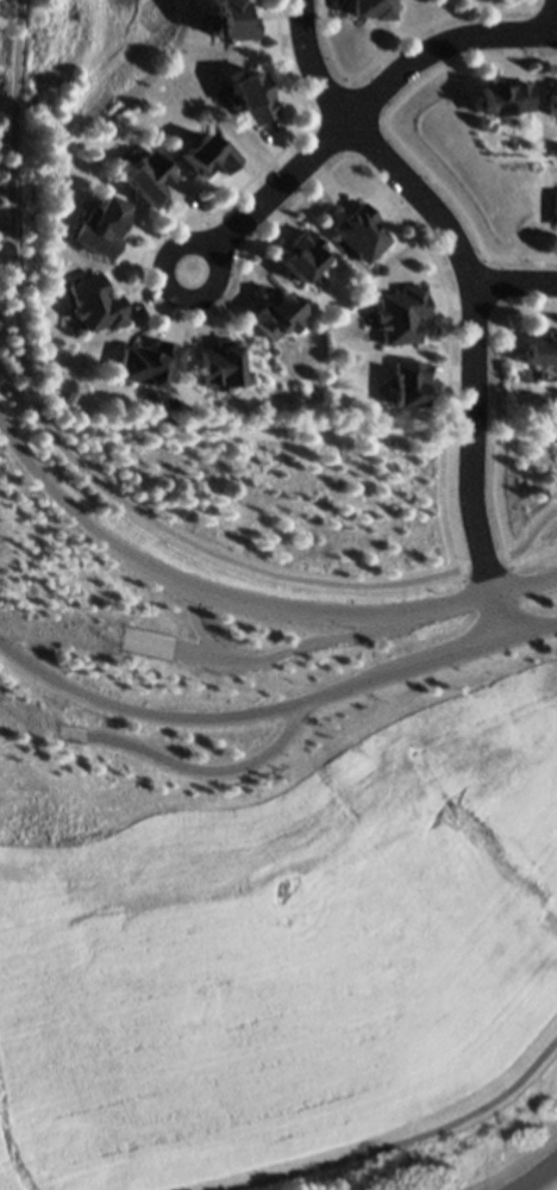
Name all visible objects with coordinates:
building: (371, 10)
road: (531, 10)
road: (556, 14)
building: (232, 20)
road: (534, 25)
road: (396, 44)
road: (440, 48)
park: (100, 56)
road: (348, 83)
building: (252, 98)
building: (505, 98)
building: (552, 108)
road: (311, 120)
road: (380, 124)
road: (384, 124)
road: (400, 142)
building: (207, 155)
road: (346, 160)
building: (144, 177)
road: (273, 200)
building: (555, 207)
building: (98, 226)
building: (359, 231)
road: (258, 241)
building: (302, 256)
road: (486, 261)
road: (489, 286)
road: (514, 286)
road: (472, 291)
building: (95, 304)
road: (496, 309)
building: (398, 316)
building: (273, 318)
building: (540, 351)
building: (150, 362)
building: (221, 367)
building: (406, 381)
road: (494, 405)
road: (95, 484)
road: (249, 600)
road: (198, 621)
road: (268, 655)
road: (275, 704)
road: (195, 765)
crop: (283, 945)
road: (402, 1142)
road: (539, 1177)

